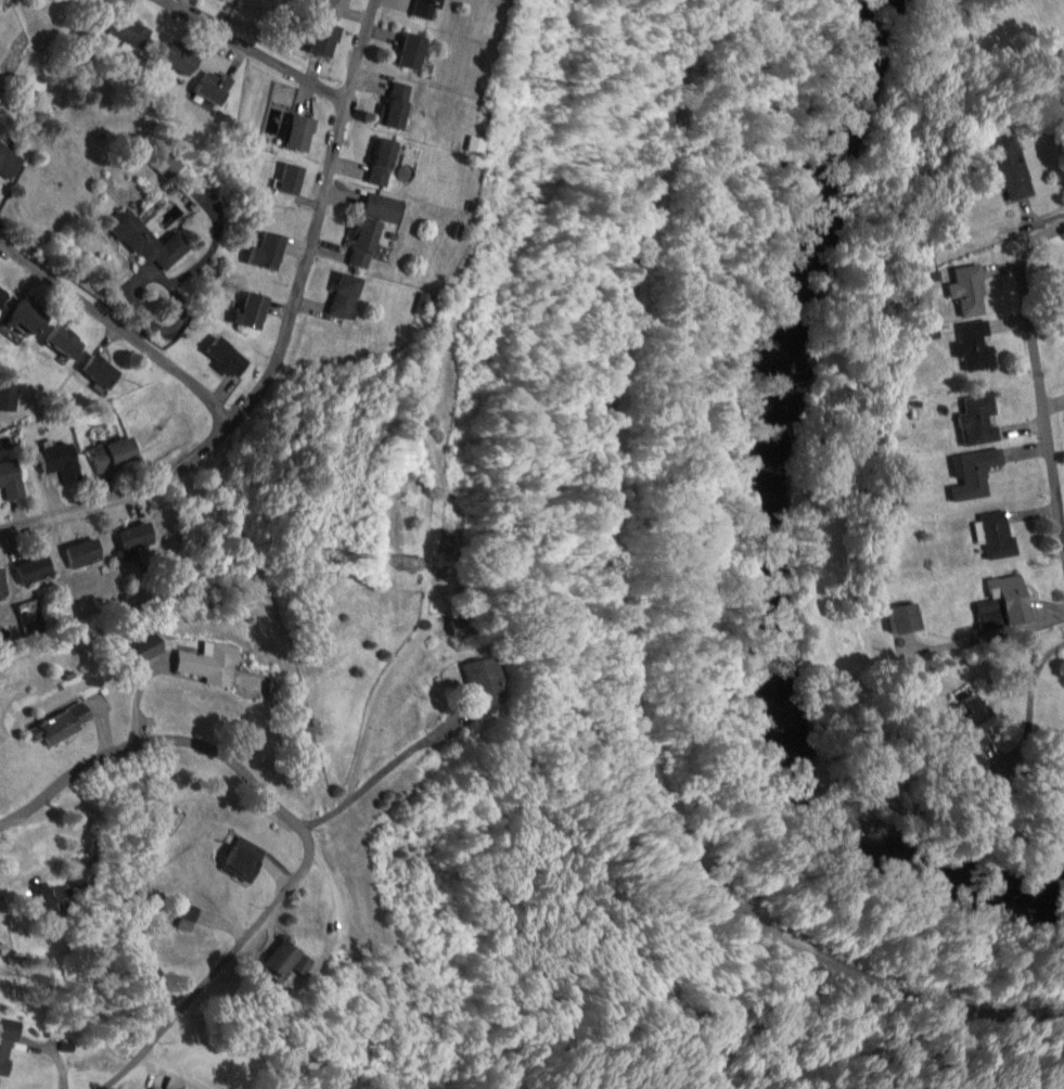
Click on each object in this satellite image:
building: (226, 0)
building: (332, 7)
building: (427, 9)
building: (132, 31)
building: (325, 39)
road: (251, 50)
building: (414, 52)
building: (180, 59)
power tower: (550, 84)
building: (214, 88)
building: (399, 105)
building: (302, 133)
building: (383, 162)
building: (9, 163)
building: (1010, 168)
building: (292, 179)
building: (384, 207)
building: (151, 242)
building: (366, 243)
building: (270, 252)
building: (971, 291)
building: (2, 295)
building: (347, 295)
building: (253, 312)
building: (25, 318)
road: (118, 329)
building: (66, 341)
road: (280, 341)
building: (976, 345)
building: (228, 356)
road: (1036, 367)
building: (102, 371)
building: (980, 420)
building: (115, 454)
building: (61, 462)
building: (975, 473)
building: (11, 479)
river: (745, 534)
building: (999, 536)
building: (130, 543)
building: (86, 553)
power tower: (348, 555)
power tower: (416, 564)
building: (35, 569)
building: (3, 585)
building: (1012, 592)
building: (908, 618)
building: (463, 628)
railway: (610, 637)
road: (1057, 648)
building: (148, 652)
building: (213, 663)
building: (488, 683)
road: (1030, 699)
building: (974, 714)
building: (64, 725)
road: (183, 738)
building: (243, 863)
building: (52, 900)
building: (191, 913)
building: (291, 960)
road: (219, 965)
building: (7, 1043)

